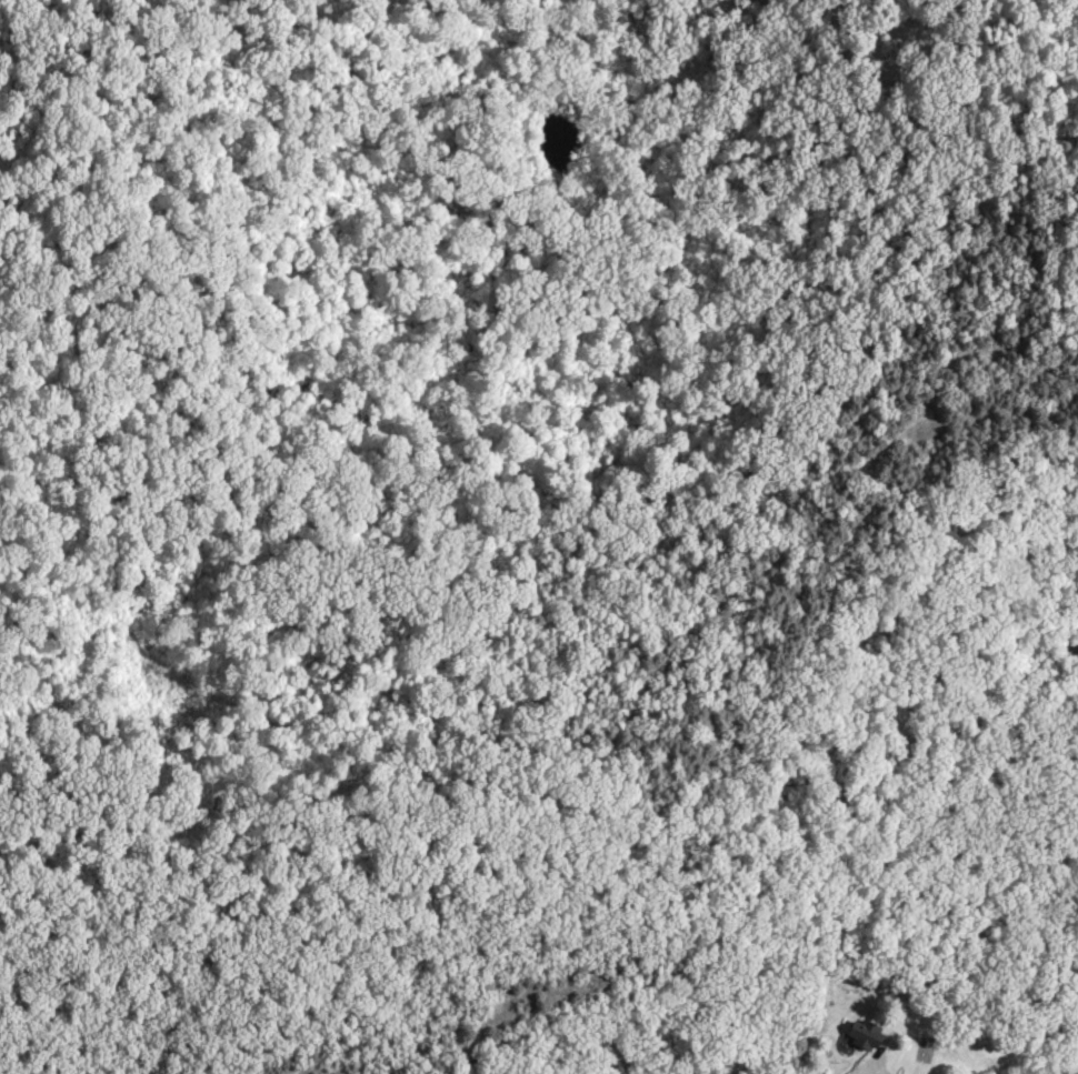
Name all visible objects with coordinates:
building: (864, 1037)
road: (889, 1066)

